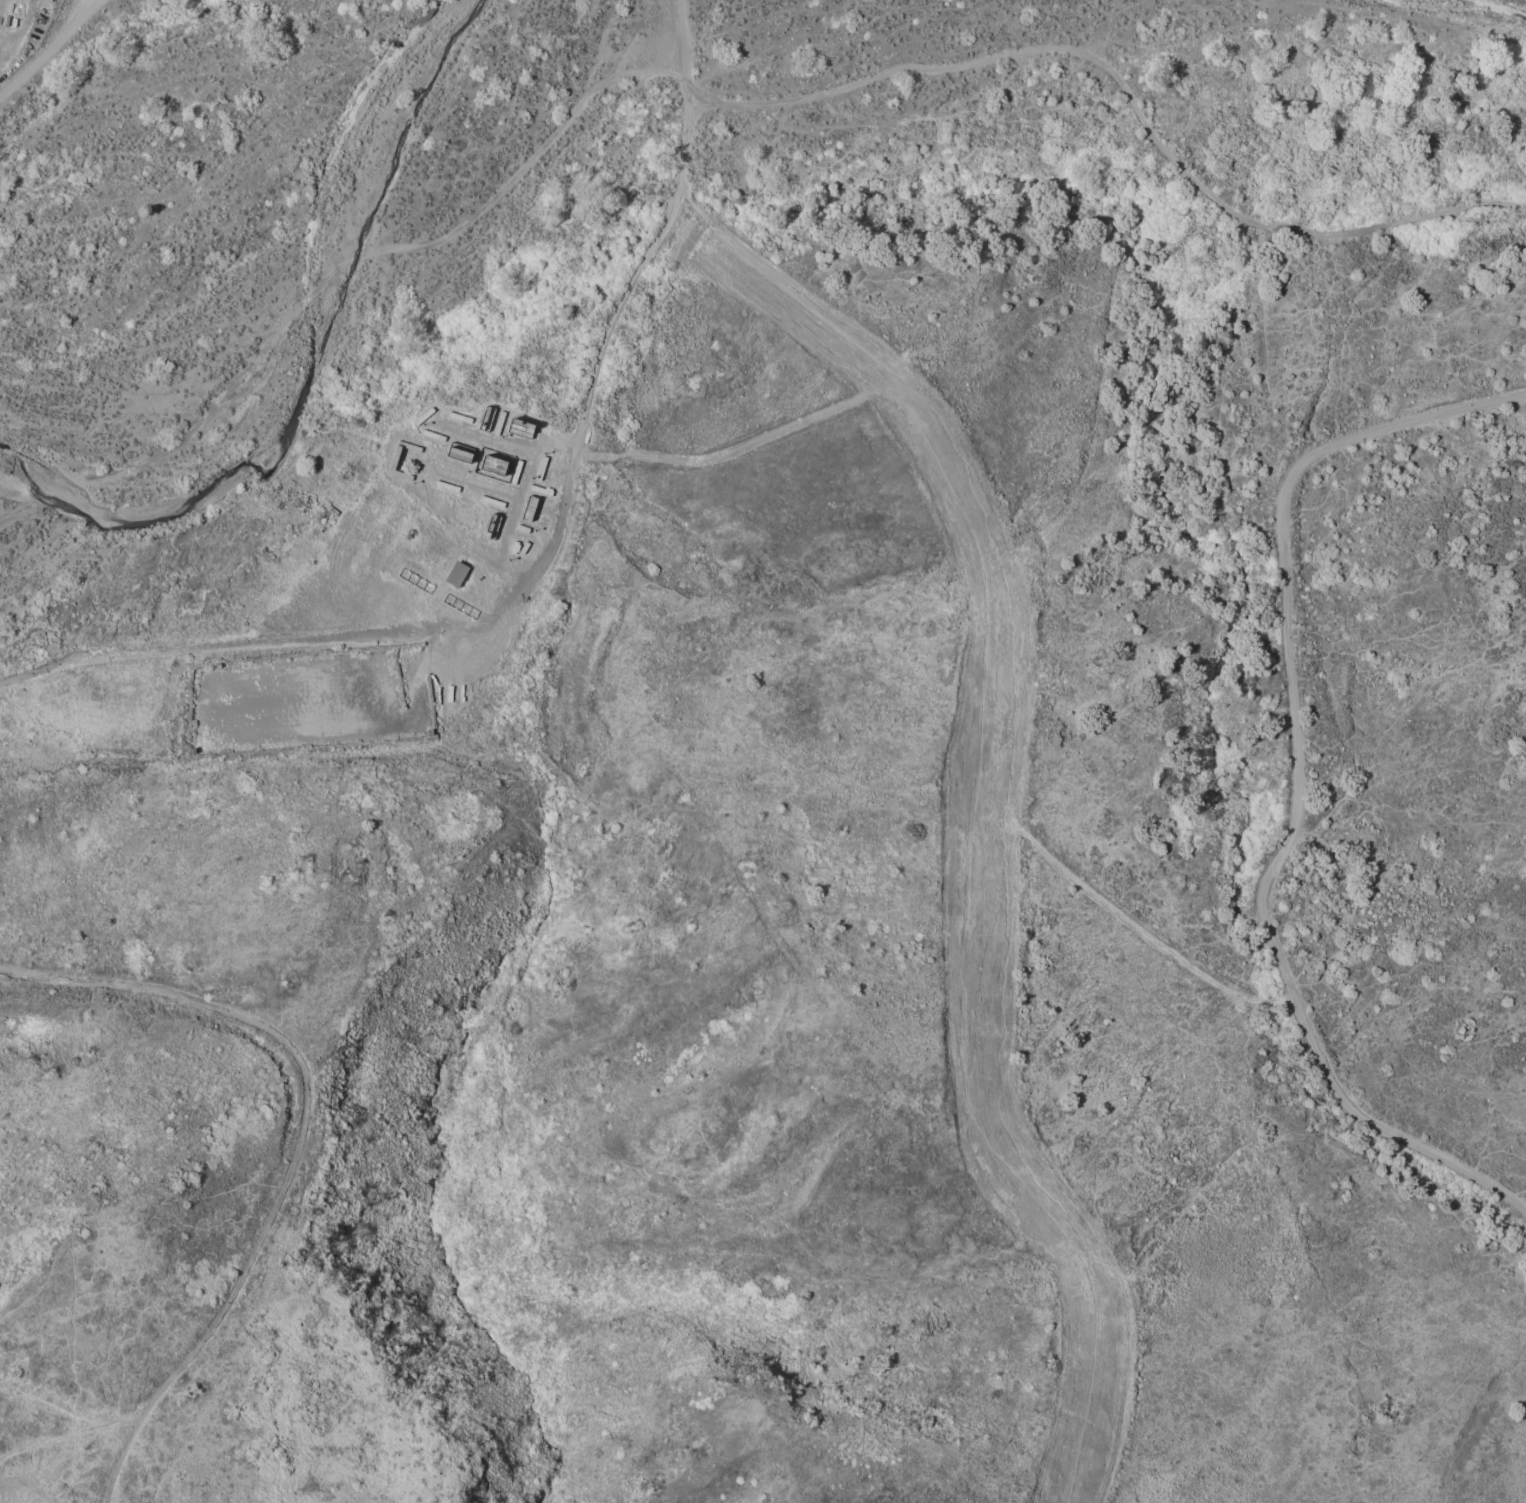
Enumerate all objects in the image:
road: (19, 36)
road: (46, 49)
road: (1127, 94)
road: (658, 233)
road: (531, 555)
building: (453, 575)
road: (242, 630)
road: (1298, 784)

